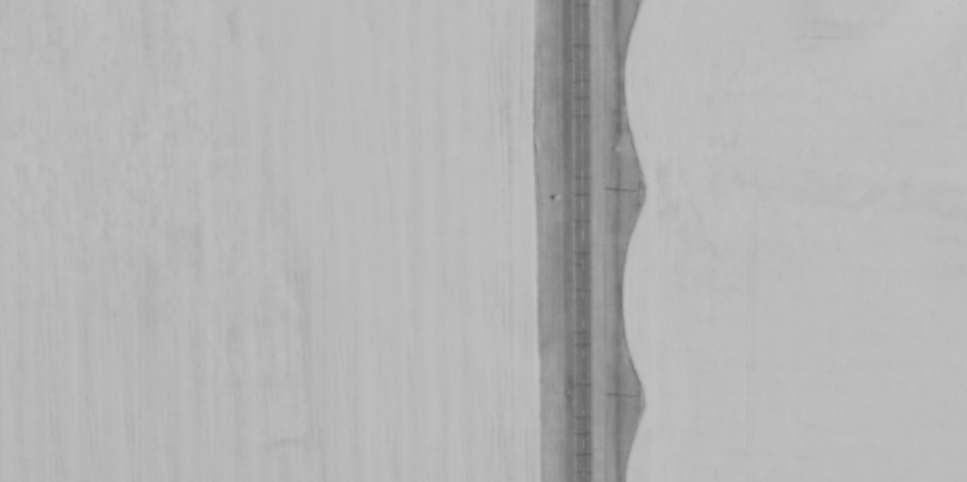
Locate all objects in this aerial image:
road: (573, 241)

